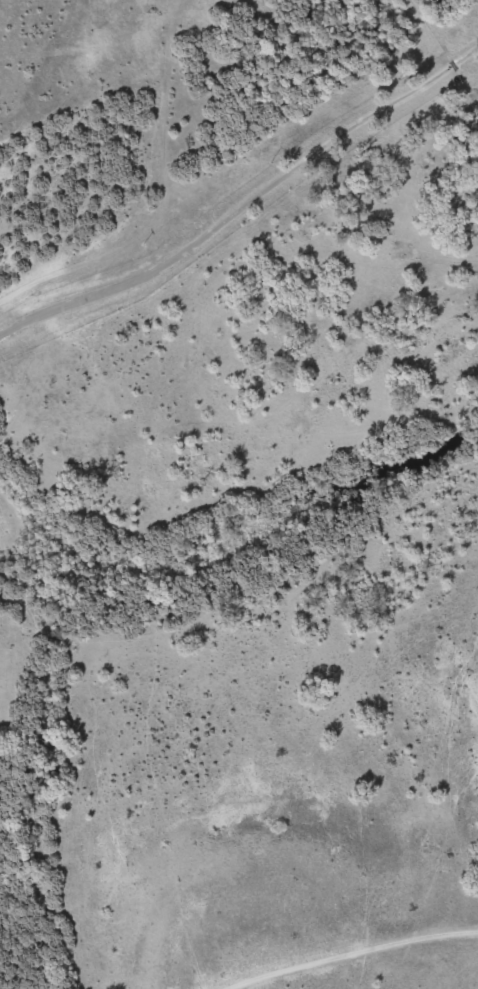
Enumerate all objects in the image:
road: (245, 199)

